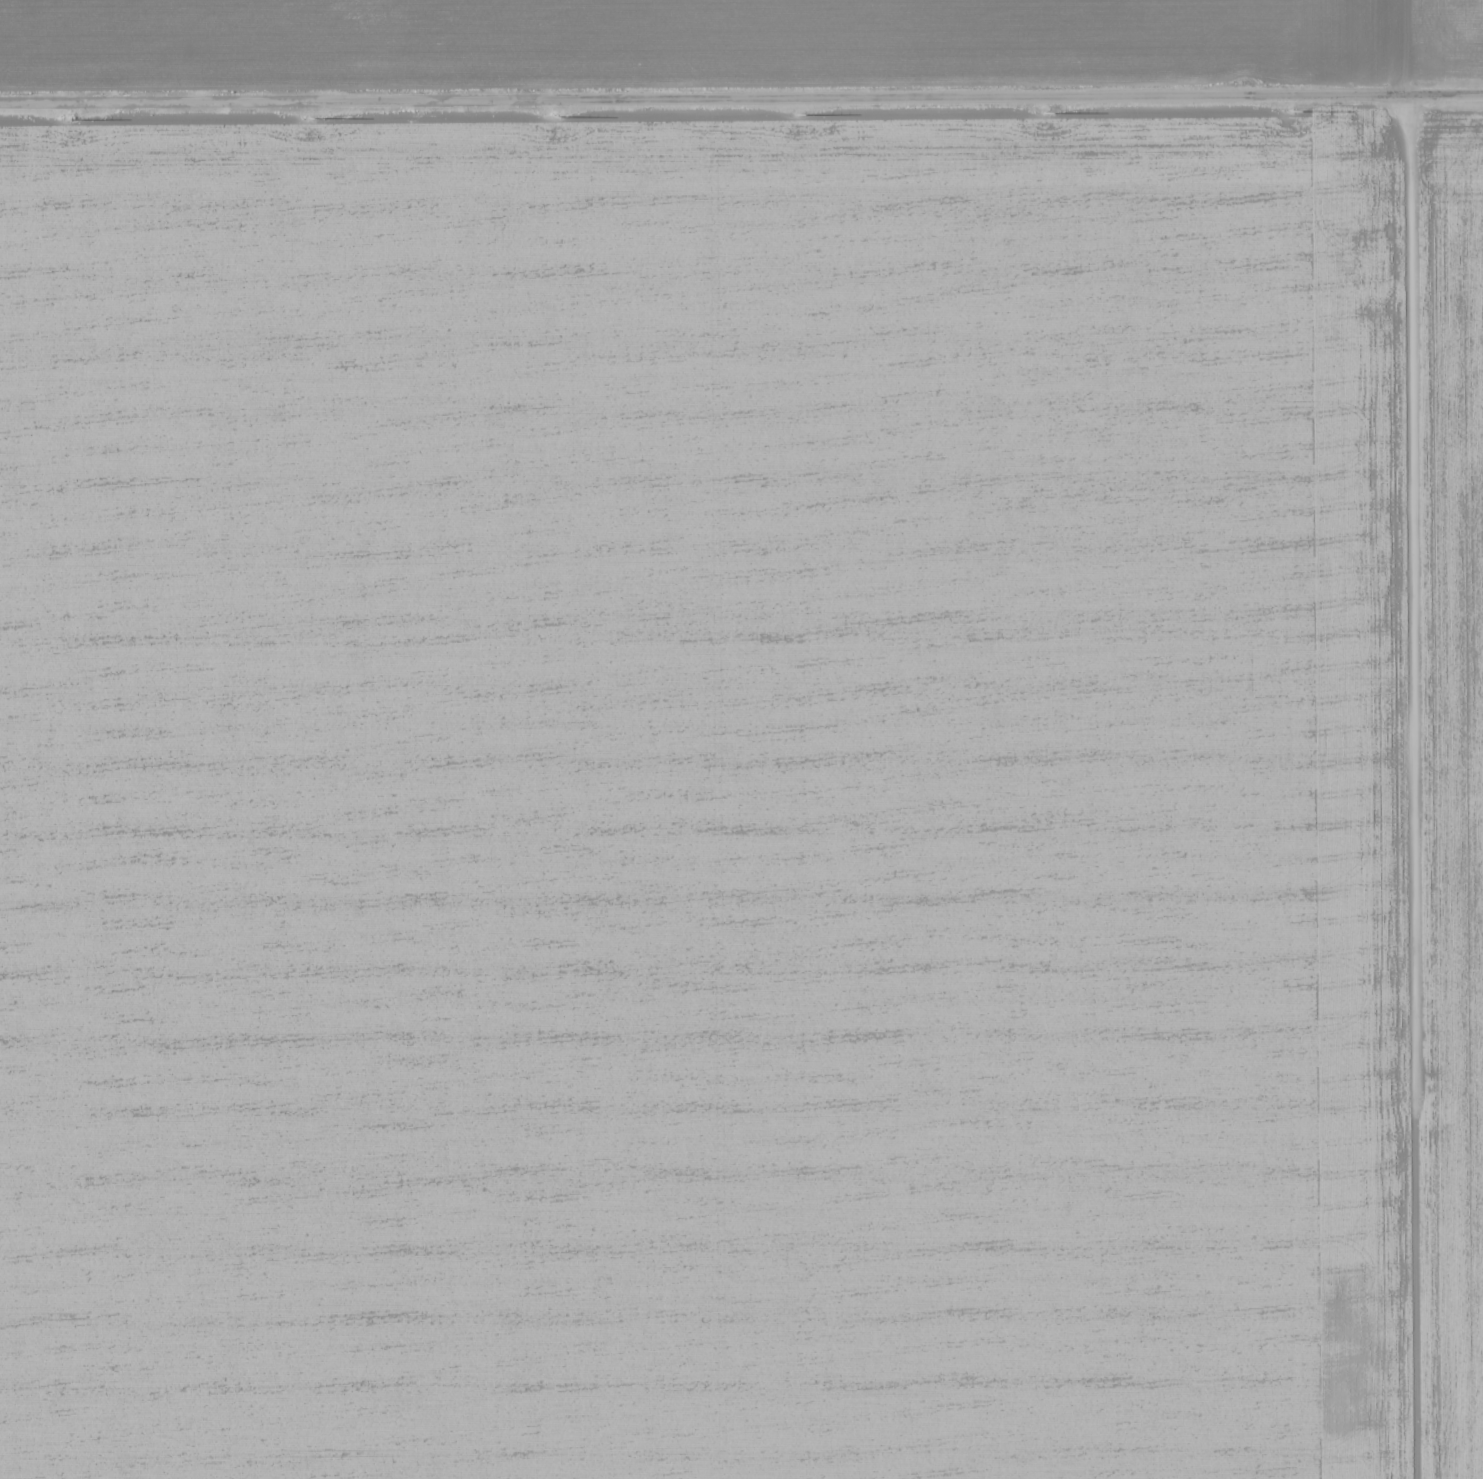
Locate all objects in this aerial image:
road: (741, 99)
power tower: (1292, 109)
power tower: (1045, 112)
power tower: (798, 114)
power tower: (559, 115)
power tower: (310, 117)
power tower: (70, 119)

